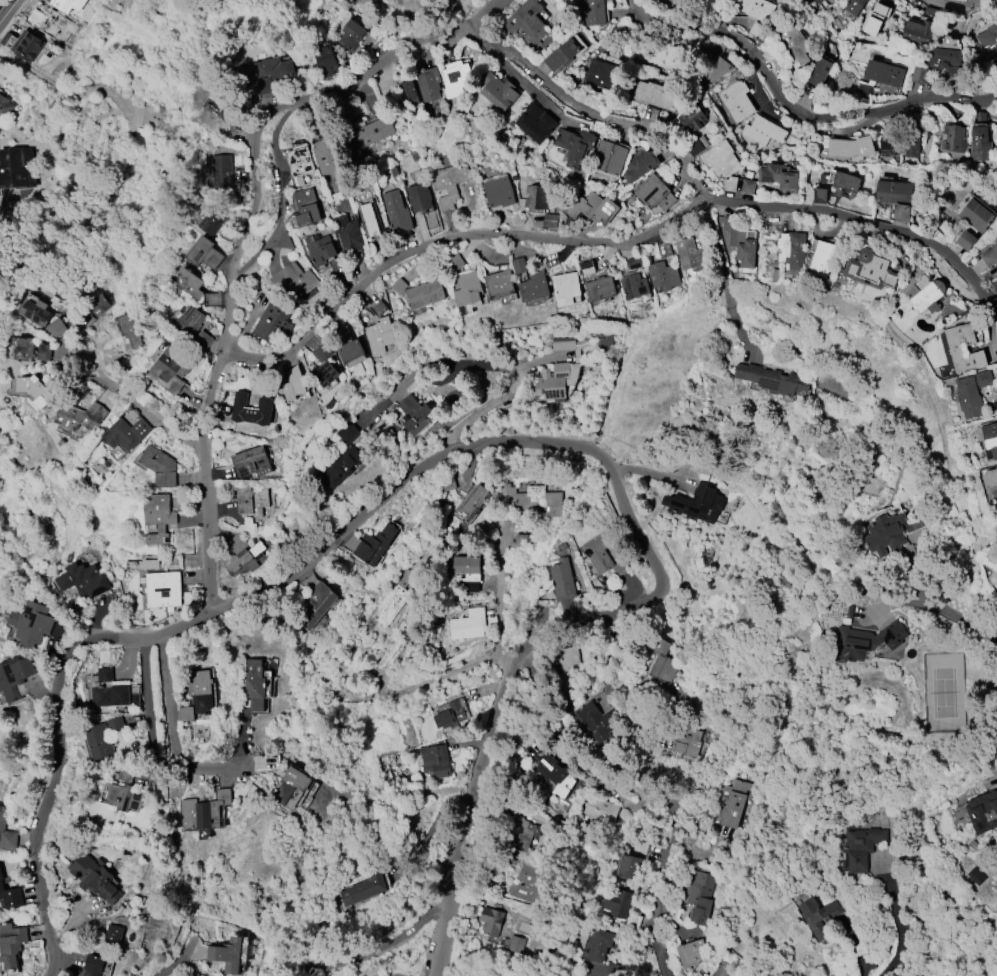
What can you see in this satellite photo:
building: (819, 1)
building: (834, 1)
road: (952, 4)
building: (854, 6)
building: (757, 9)
road: (8, 10)
building: (593, 12)
building: (873, 19)
building: (524, 24)
building: (918, 31)
building: (351, 34)
building: (986, 40)
building: (794, 42)
building: (27, 45)
building: (561, 55)
building: (324, 61)
building: (945, 61)
building: (717, 67)
building: (819, 72)
building: (271, 73)
building: (883, 73)
building: (603, 74)
building: (919, 75)
building: (454, 78)
building: (427, 83)
building: (498, 91)
building: (409, 92)
building: (654, 95)
building: (736, 101)
building: (5, 106)
road: (793, 110)
building: (691, 118)
building: (535, 123)
building: (762, 131)
building: (372, 132)
building: (952, 138)
building: (911, 142)
building: (979, 144)
building: (575, 145)
building: (850, 147)
building: (888, 147)
building: (327, 158)
building: (608, 158)
building: (720, 159)
building: (300, 163)
building: (639, 165)
building: (222, 170)
building: (15, 172)
building: (778, 177)
building: (846, 181)
building: (448, 184)
building: (747, 187)
building: (498, 190)
building: (894, 192)
building: (653, 193)
building: (418, 197)
building: (535, 197)
road: (716, 200)
building: (305, 207)
building: (591, 208)
building: (396, 211)
building: (976, 215)
building: (370, 219)
building: (212, 220)
building: (549, 220)
building: (348, 235)
building: (996, 237)
road: (451, 238)
building: (965, 240)
building: (741, 242)
building: (320, 250)
building: (791, 250)
building: (203, 253)
building: (689, 255)
building: (990, 255)
building: (822, 259)
road: (229, 260)
building: (634, 263)
building: (518, 265)
building: (870, 270)
building: (662, 276)
road: (723, 277)
building: (294, 280)
building: (191, 284)
building: (498, 284)
building: (633, 286)
building: (996, 286)
building: (533, 287)
building: (565, 288)
building: (599, 288)
building: (419, 292)
building: (467, 292)
building: (928, 297)
building: (36, 313)
building: (189, 321)
building: (272, 322)
building: (130, 327)
building: (55, 328)
building: (379, 335)
building: (562, 343)
building: (954, 348)
building: (25, 349)
building: (350, 351)
building: (44, 352)
road: (486, 364)
building: (170, 370)
building: (325, 374)
building: (773, 379)
building: (553, 381)
building: (293, 384)
building: (34, 390)
building: (968, 397)
building: (251, 409)
building: (414, 415)
building: (79, 416)
road: (163, 417)
building: (126, 433)
building: (347, 433)
building: (990, 438)
road: (460, 448)
building: (251, 462)
building: (340, 466)
building: (159, 467)
building: (990, 478)
building: (251, 500)
building: (531, 500)
building: (472, 501)
building: (696, 503)
building: (158, 517)
building: (886, 534)
building: (518, 541)
building: (374, 544)
building: (598, 553)
building: (244, 559)
building: (149, 563)
building: (467, 563)
building: (562, 579)
building: (83, 580)
building: (162, 589)
road: (501, 589)
building: (392, 598)
building: (317, 604)
road: (953, 615)
building: (31, 623)
building: (467, 624)
building: (866, 641)
building: (662, 667)
building: (568, 668)
building: (104, 675)
building: (15, 676)
road: (438, 676)
building: (253, 684)
building: (196, 695)
building: (110, 696)
building: (449, 715)
building: (598, 721)
road: (489, 740)
building: (98, 741)
road: (168, 741)
building: (687, 743)
building: (435, 761)
building: (549, 767)
road: (55, 768)
building: (291, 784)
building: (124, 797)
road: (647, 801)
building: (732, 801)
building: (599, 810)
building: (204, 811)
building: (982, 811)
building: (6, 832)
building: (860, 847)
building: (629, 867)
building: (95, 877)
building: (529, 880)
building: (362, 890)
building: (10, 895)
building: (699, 895)
building: (617, 902)
building: (819, 916)
road: (897, 919)
building: (490, 921)
building: (113, 934)
park: (979, 938)
building: (11, 944)
building: (515, 944)
building: (599, 945)
road: (375, 949)
building: (690, 952)
building: (227, 955)
building: (94, 965)
road: (164, 974)

